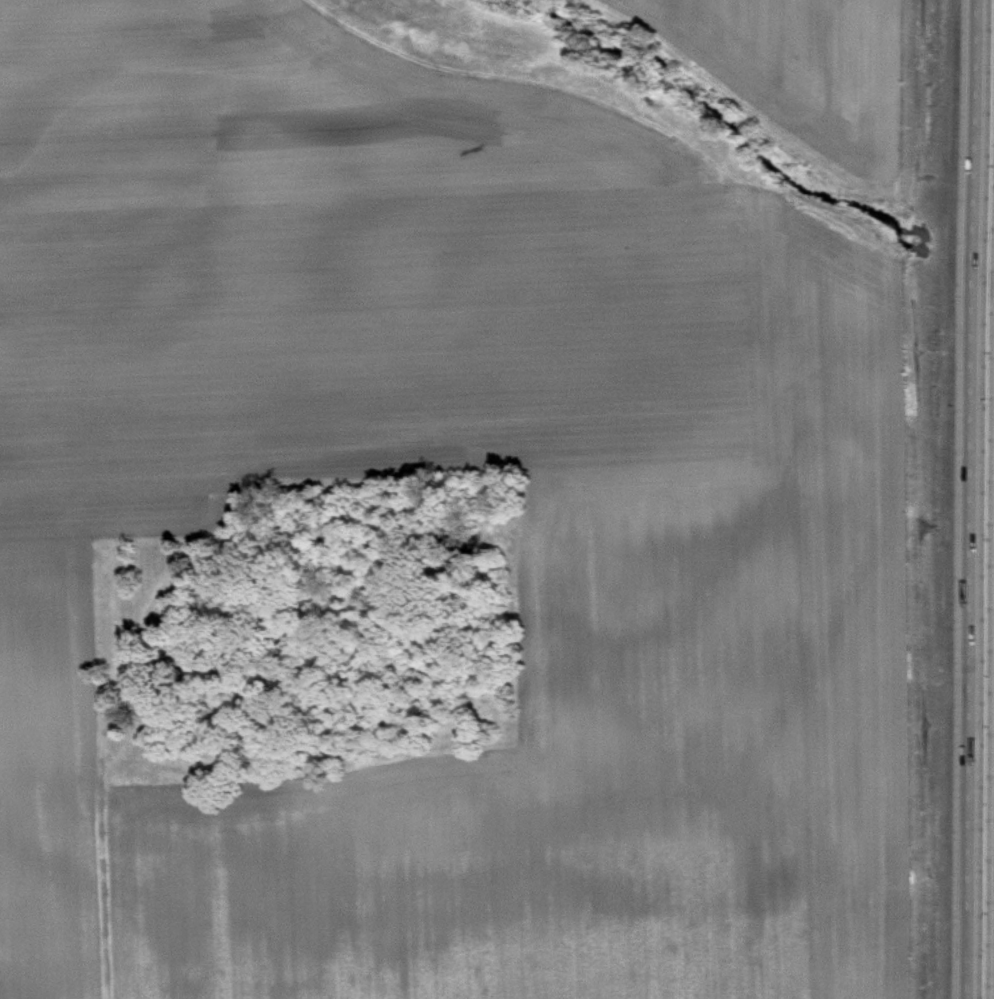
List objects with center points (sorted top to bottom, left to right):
road: (970, 499)

